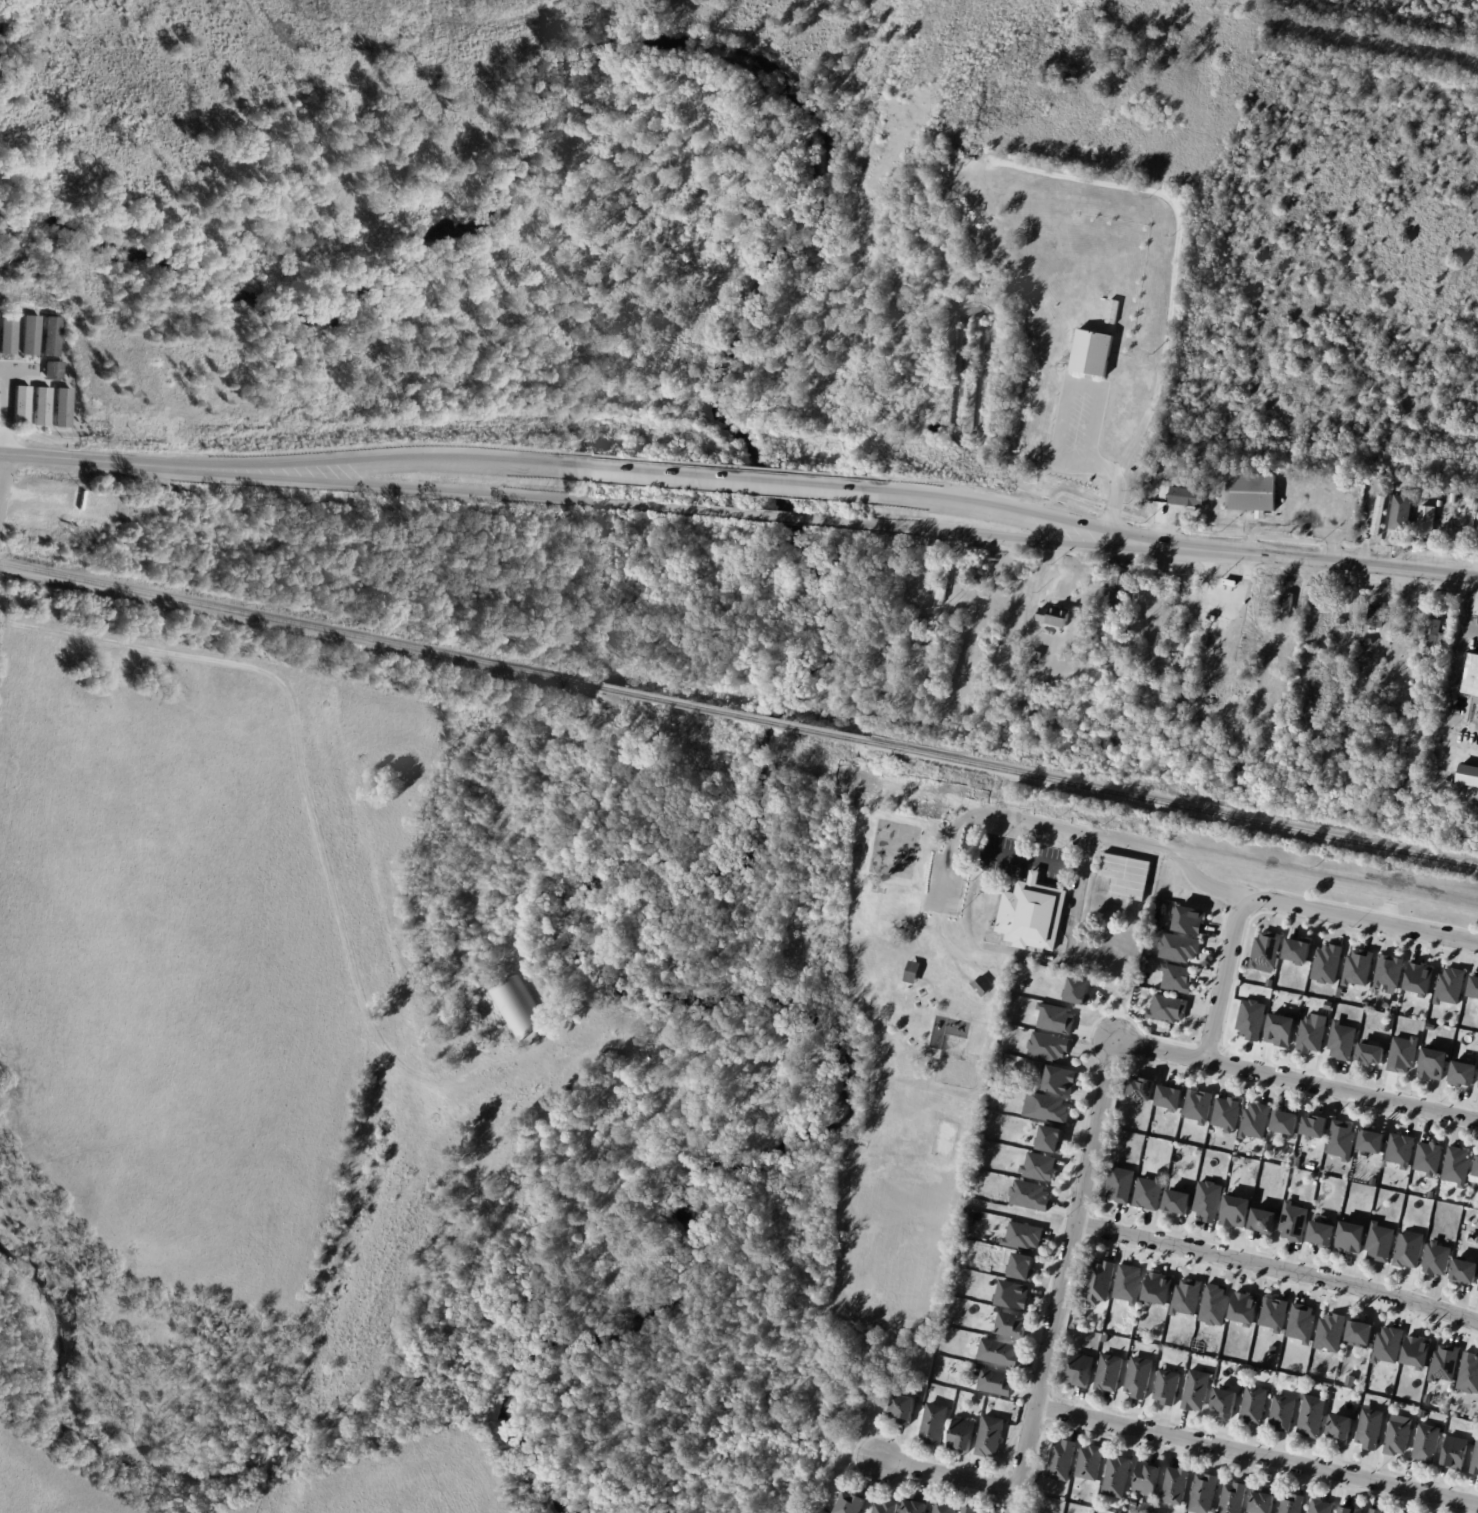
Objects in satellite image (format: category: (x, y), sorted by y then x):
building: (1103, 19)
road: (1359, 37)
building: (1046, 77)
road: (1083, 176)
building: (7, 334)
building: (28, 335)
building: (50, 336)
building: (1090, 352)
building: (52, 369)
building: (944, 383)
parking lot: (9, 392)
building: (20, 405)
building: (40, 406)
building: (61, 407)
road: (46, 457)
road: (1096, 462)
road: (327, 463)
building: (1185, 464)
building: (1194, 466)
road: (329, 481)
road: (717, 481)
road: (6, 488)
building: (1255, 493)
building: (1189, 498)
building: (1452, 498)
building: (1438, 503)
road: (982, 508)
building: (1400, 512)
road: (712, 514)
building: (1377, 515)
building: (1423, 522)
road: (974, 531)
road: (1283, 554)
building: (945, 584)
building: (1120, 592)
road: (1467, 601)
building: (1287, 604)
building: (1374, 615)
building: (1056, 617)
building: (1340, 621)
railway: (299, 623)
building: (922, 624)
road: (1469, 630)
building: (1430, 632)
building: (1039, 656)
building: (1112, 663)
building: (1373, 668)
building: (1470, 675)
building: (1421, 686)
building: (880, 699)
road: (1444, 705)
railway: (731, 712)
road: (302, 753)
building: (1352, 763)
building: (1467, 775)
building: (1396, 779)
railway: (1170, 801)
road: (1093, 835)
park: (893, 847)
parking lot: (1025, 857)
road: (1030, 860)
building: (1127, 875)
parking lot: (944, 881)
road: (1327, 883)
building: (1034, 913)
road: (1362, 918)
building: (1191, 920)
road: (1069, 936)
building: (1180, 947)
building: (1299, 951)
building: (1267, 952)
building: (1328, 964)
building: (1359, 968)
building: (914, 970)
building: (1390, 971)
building: (1178, 977)
building: (1420, 978)
road: (1221, 979)
building: (984, 984)
building: (1452, 986)
building: (1474, 987)
building: (1080, 991)
building: (516, 1008)
building: (1169, 1008)
building: (1057, 1018)
building: (1253, 1019)
building: (1281, 1030)
building: (1313, 1033)
building: (1344, 1040)
building: (1050, 1046)
building: (1371, 1054)
building: (1404, 1054)
park: (912, 1063)
building: (1434, 1064)
building: (1463, 1073)
road: (1296, 1079)
building: (1062, 1080)
building: (1477, 1086)
building: (1143, 1089)
building: (1171, 1098)
building: (1200, 1104)
building: (1048, 1107)
building: (1230, 1112)
building: (1258, 1120)
building: (1289, 1122)
building: (1316, 1126)
building: (1052, 1139)
building: (1343, 1139)
building: (1375, 1141)
building: (1402, 1149)
building: (1430, 1157)
building: (1458, 1165)
building: (1041, 1167)
building: (1477, 1172)
building: (1477, 1177)
building: (1123, 1183)
building: (1151, 1192)
building: (1031, 1195)
building: (1179, 1200)
building: (1210, 1201)
building: (1237, 1210)
building: (1266, 1220)
building: (1295, 1221)
building: (1325, 1233)
building: (1024, 1236)
building: (1353, 1236)
building: (1382, 1242)
building: (1411, 1249)
building: (1438, 1258)
building: (1023, 1267)
road: (1277, 1267)
building: (1465, 1271)
road: (1061, 1276)
building: (1100, 1280)
building: (1130, 1284)
building: (1158, 1288)
building: (1477, 1288)
building: (1015, 1295)
building: (1187, 1297)
building: (1215, 1305)
building: (1246, 1308)
building: (1275, 1314)
building: (1303, 1323)
building: (1013, 1325)
building: (1331, 1332)
building: (1361, 1334)
building: (1106, 1337)
building: (1388, 1345)
building: (1418, 1352)
building: (1000, 1353)
building: (1445, 1363)
building: (1083, 1369)
building: (1111, 1372)
building: (1469, 1373)
building: (1141, 1376)
building: (998, 1383)
building: (1168, 1386)
building: (1198, 1389)
building: (1226, 1400)
building: (1255, 1404)
building: (904, 1407)
building: (1284, 1412)
building: (1313, 1415)
building: (935, 1423)
building: (1341, 1427)
building: (1371, 1428)
building: (963, 1434)
building: (1399, 1434)
building: (991, 1435)
building: (1428, 1442)
building: (1456, 1452)
road: (1255, 1455)
building: (1064, 1459)
building: (1091, 1462)
building: (1476, 1462)
road: (946, 1475)
building: (1118, 1476)
building: (1149, 1477)
building: (1177, 1485)
building: (1206, 1493)
building: (1235, 1497)
building: (1264, 1501)
building: (854, 1503)
building: (1294, 1503)
building: (916, 1506)
building: (1322, 1506)
building: (886, 1507)
building: (946, 1507)
building: (971, 1509)
building: (1352, 1509)
building: (1378, 1510)

